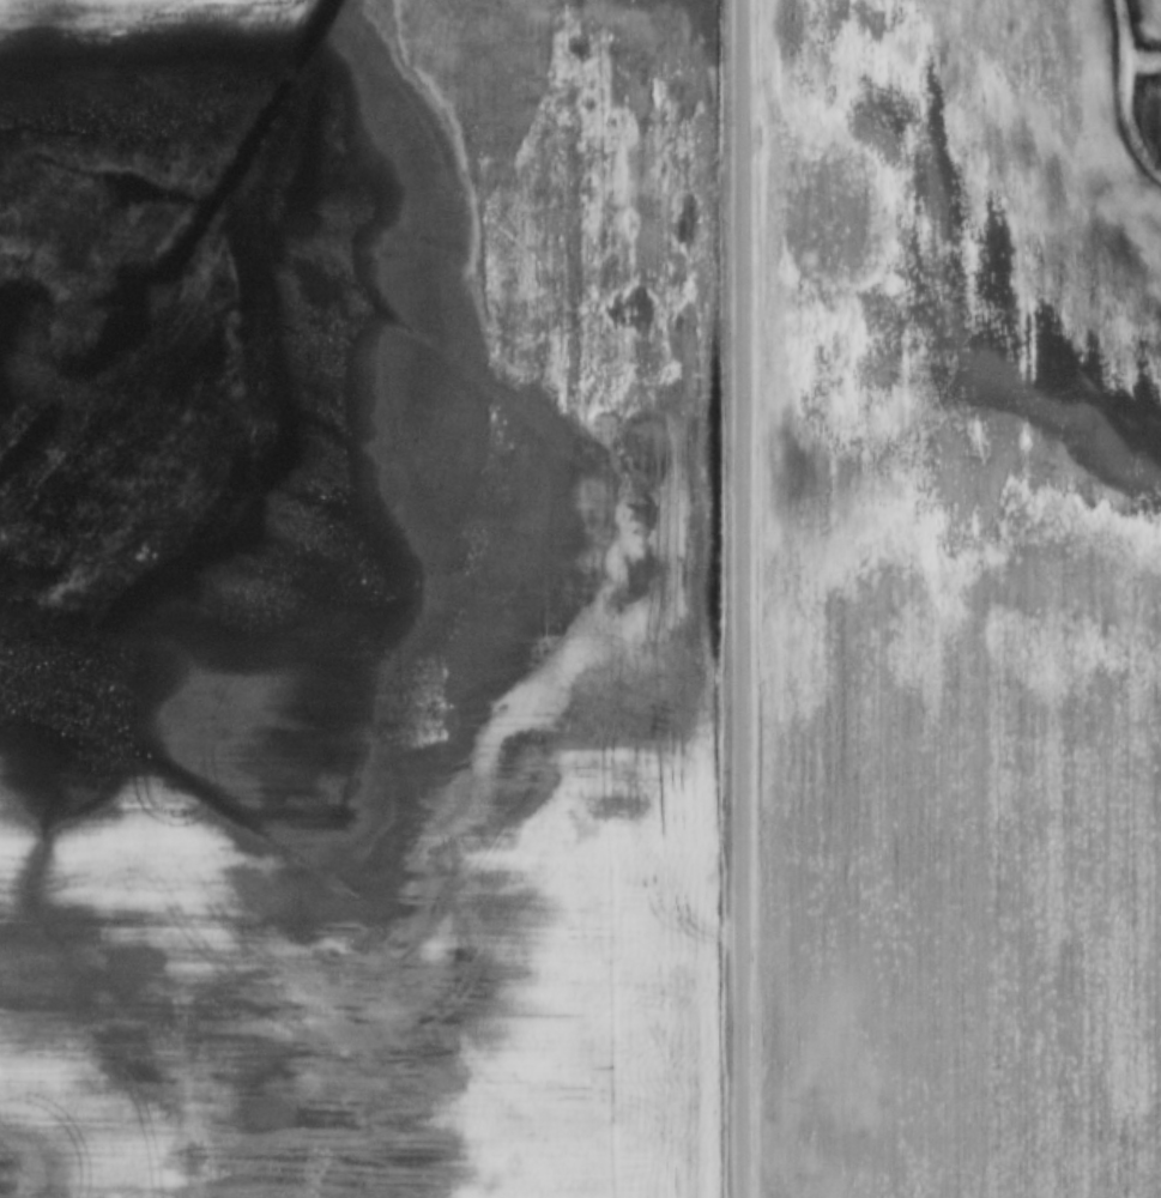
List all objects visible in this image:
road: (737, 599)

